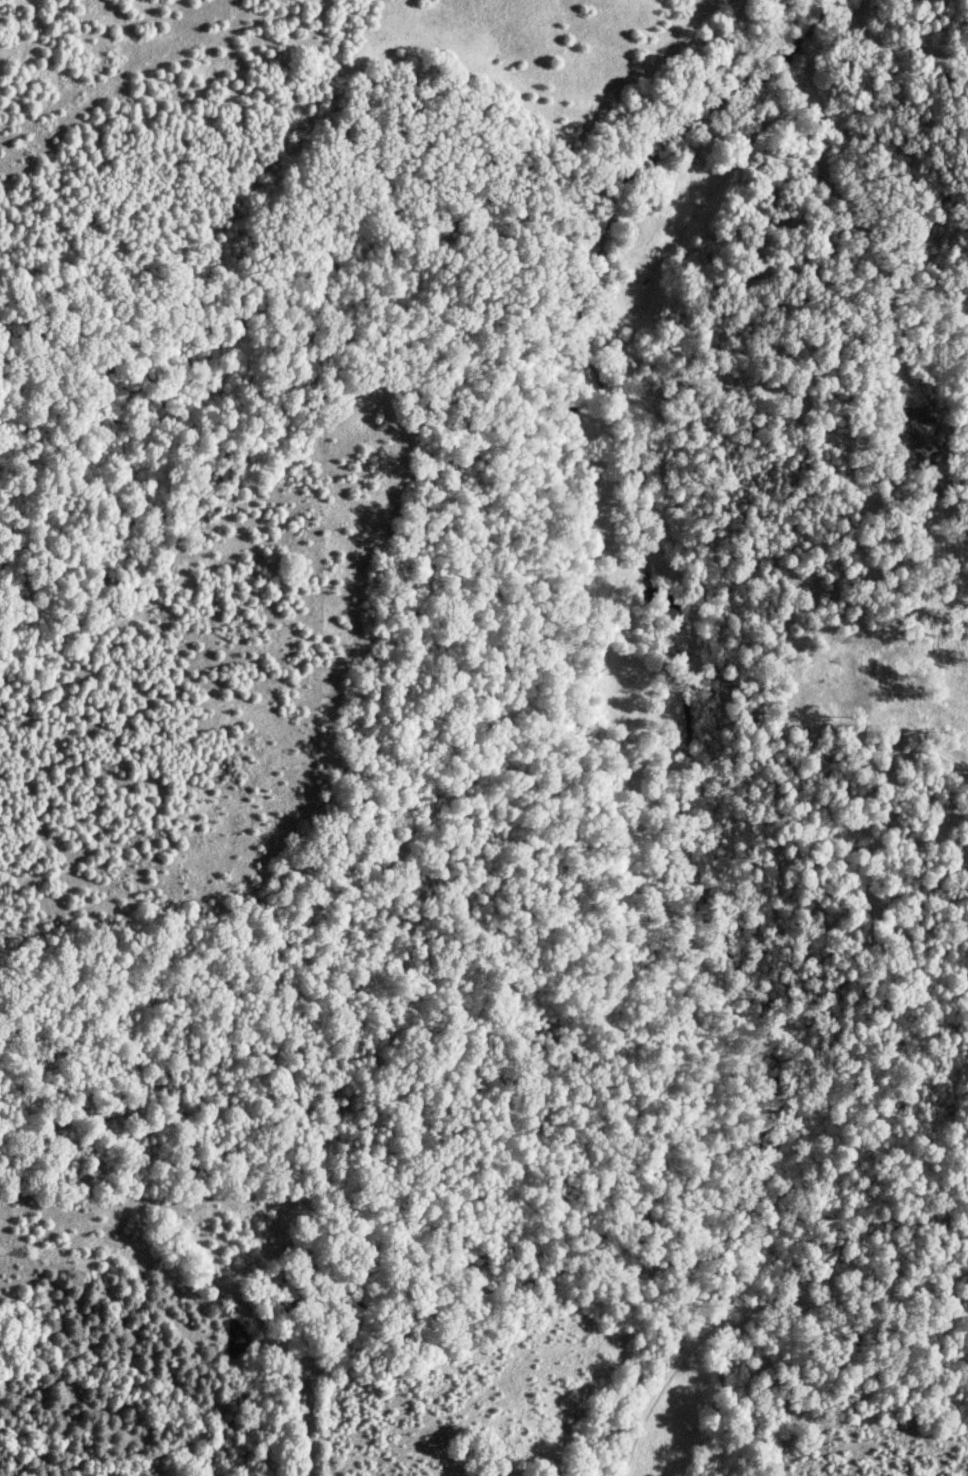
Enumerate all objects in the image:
road: (880, 725)

